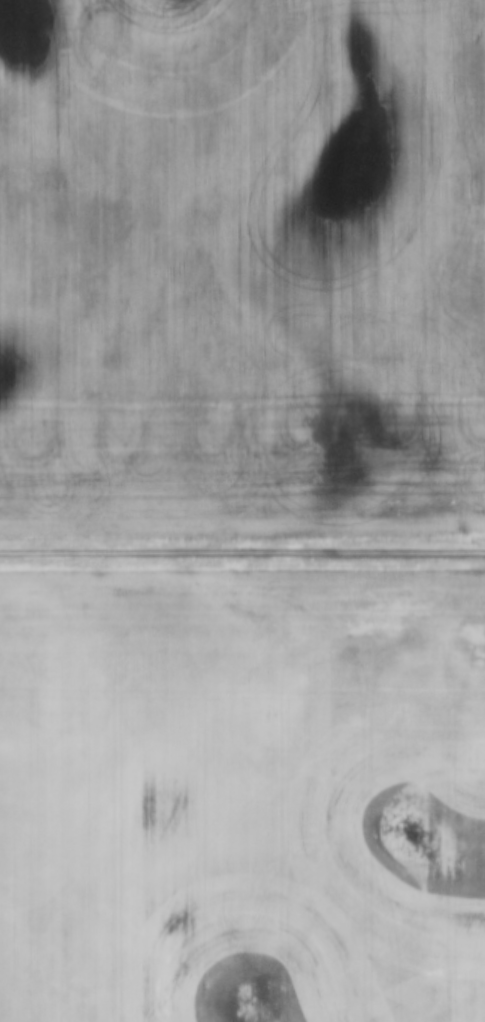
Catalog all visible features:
road: (242, 550)

